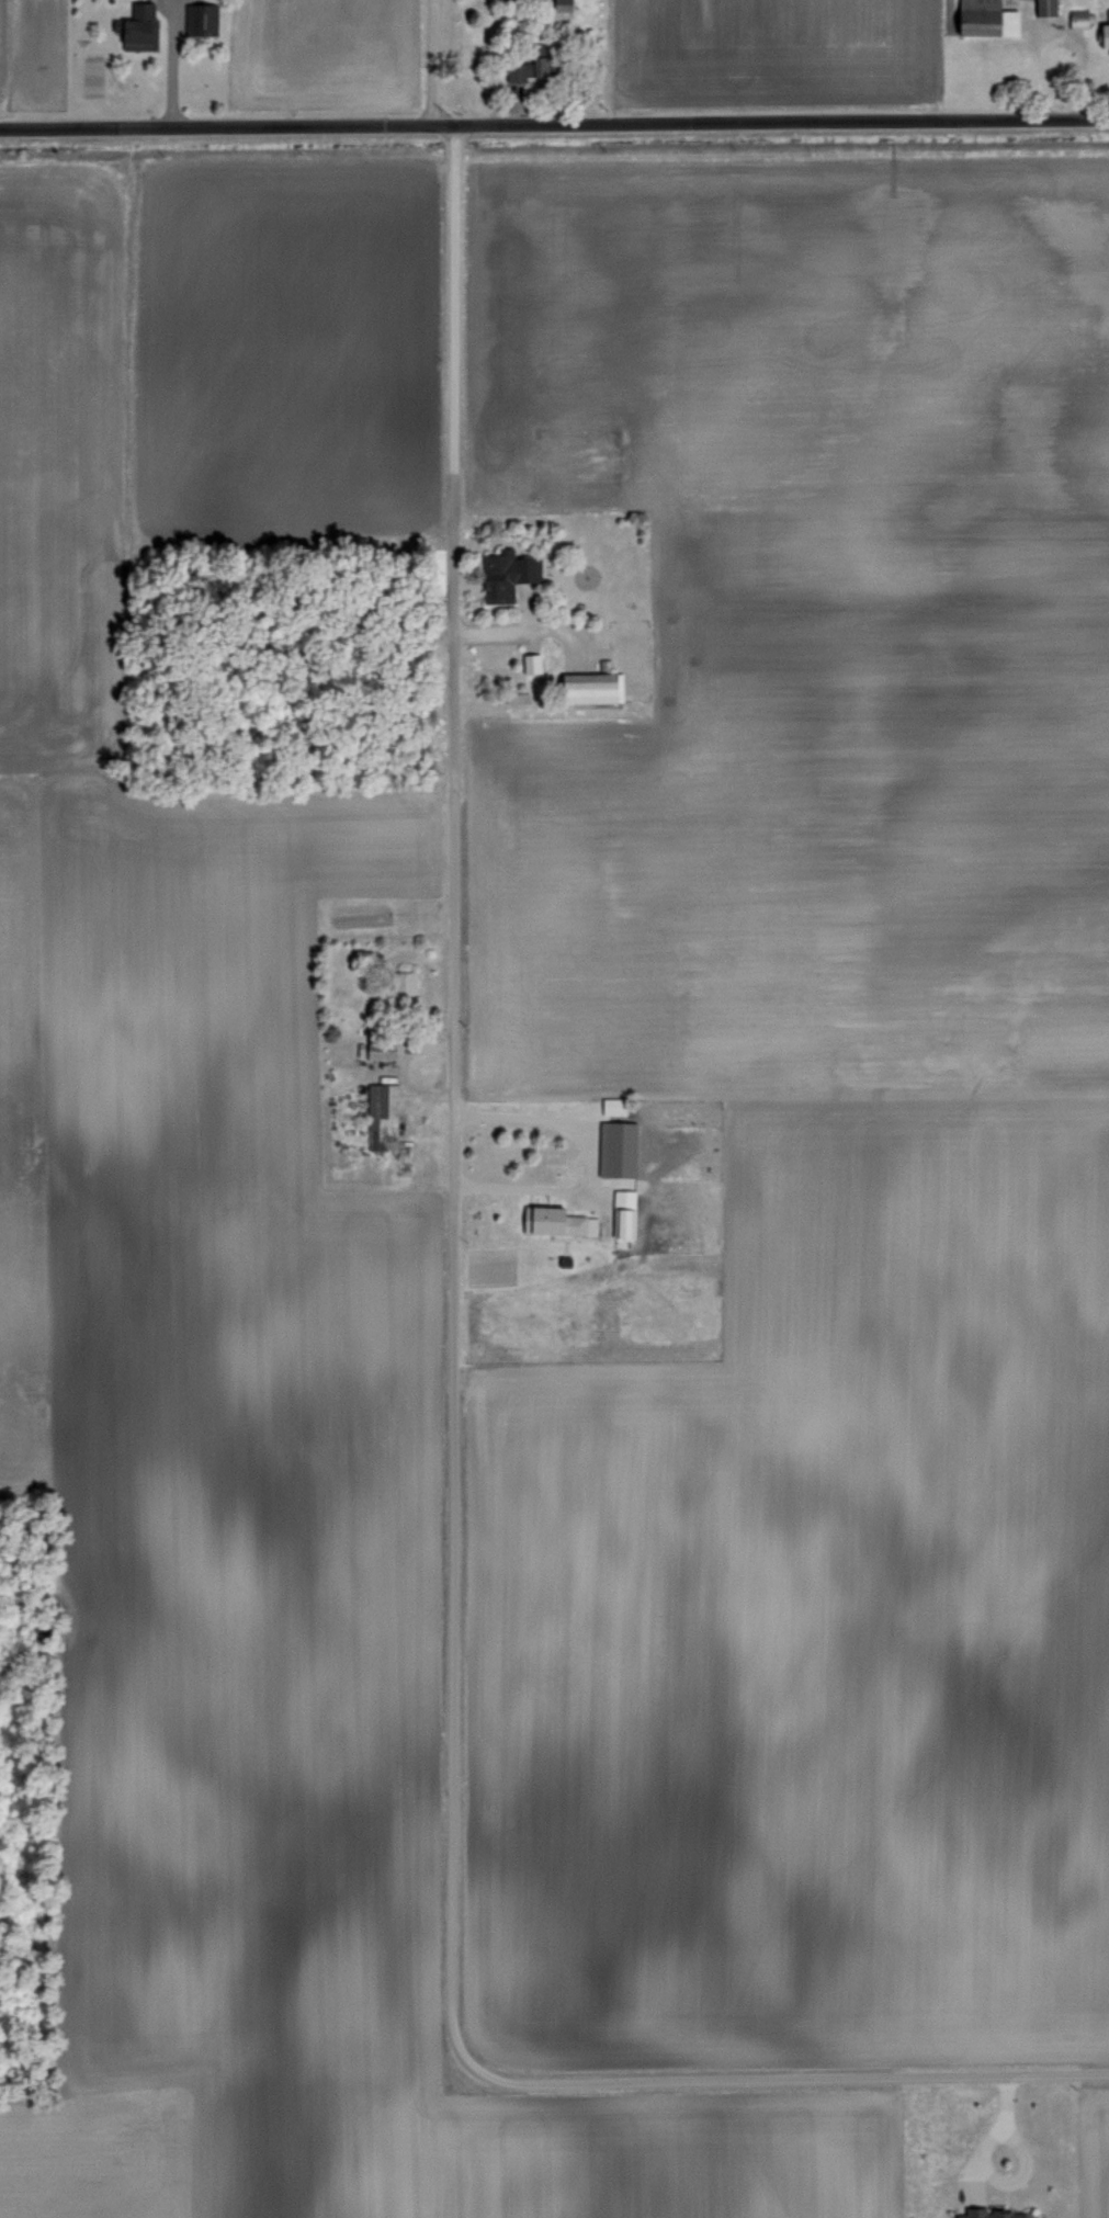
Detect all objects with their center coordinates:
building: (558, 5)
building: (1043, 8)
building: (201, 19)
building: (981, 19)
building: (1089, 25)
road: (170, 64)
road: (430, 64)
building: (525, 70)
road: (554, 123)
building: (502, 574)
building: (528, 661)
building: (586, 687)
building: (513, 697)
building: (400, 984)
building: (376, 1053)
building: (611, 1105)
building: (381, 1107)
road: (449, 1164)
road: (582, 1164)
building: (621, 1213)
building: (553, 1220)
road: (850, 2075)
road: (992, 2134)
building: (980, 2205)

